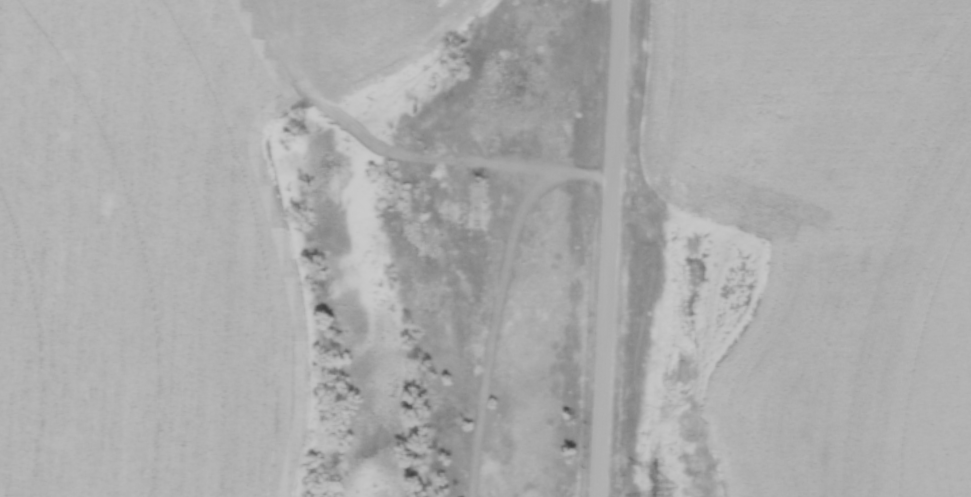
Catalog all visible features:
road: (607, 248)
power tower: (669, 494)

